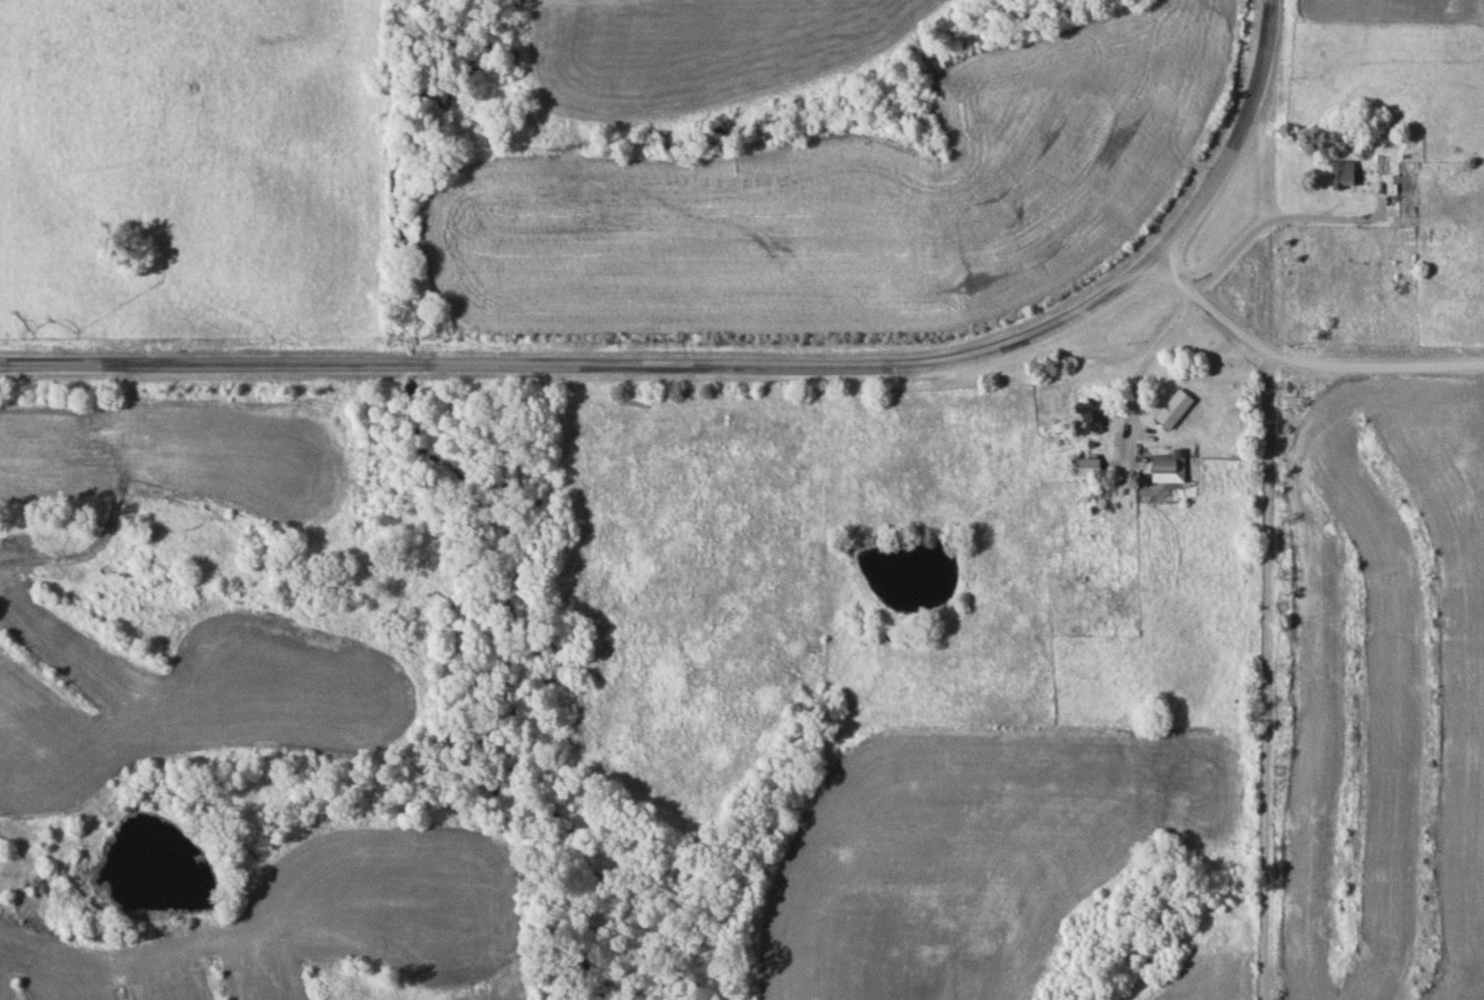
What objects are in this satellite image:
road: (1239, 139)
building: (1346, 176)
road: (1218, 274)
road: (1301, 364)
road: (592, 368)
building: (1177, 410)
building: (1094, 417)
building: (1090, 468)
building: (1172, 470)
road: (1270, 677)

